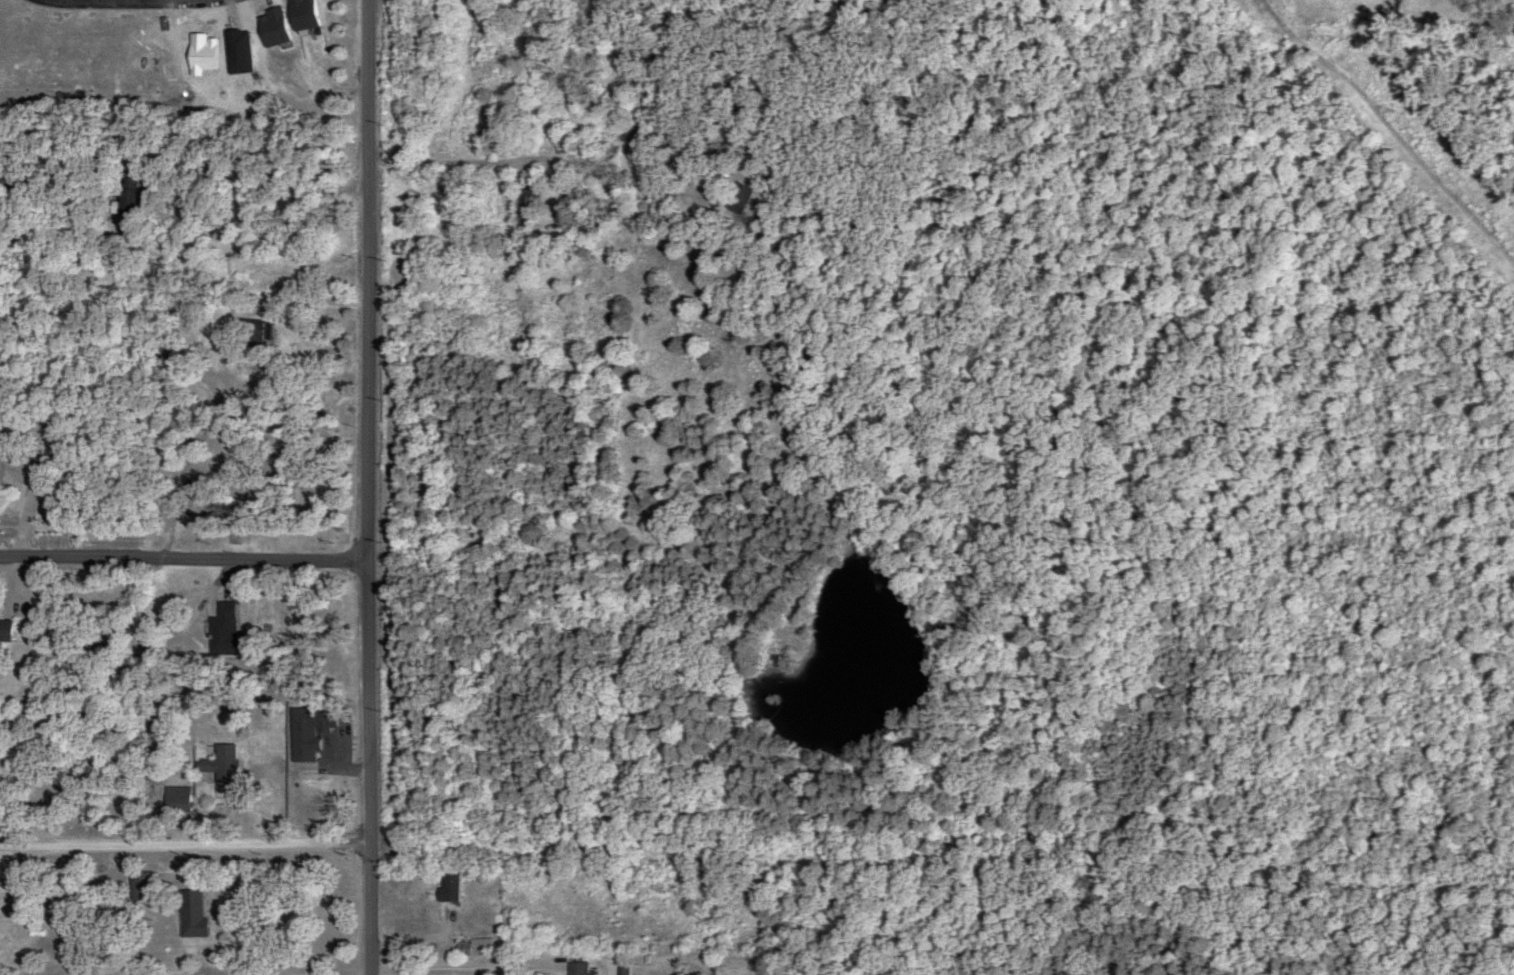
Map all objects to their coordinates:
building: (300, 14)
building: (125, 196)
building: (736, 199)
building: (525, 206)
building: (255, 335)
building: (19, 473)
road: (366, 487)
road: (183, 557)
building: (4, 630)
building: (221, 630)
building: (219, 768)
building: (174, 800)
road: (184, 849)
building: (139, 886)
building: (447, 889)
building: (189, 914)
building: (472, 948)
road: (446, 967)
building: (558, 967)
building: (621, 969)

